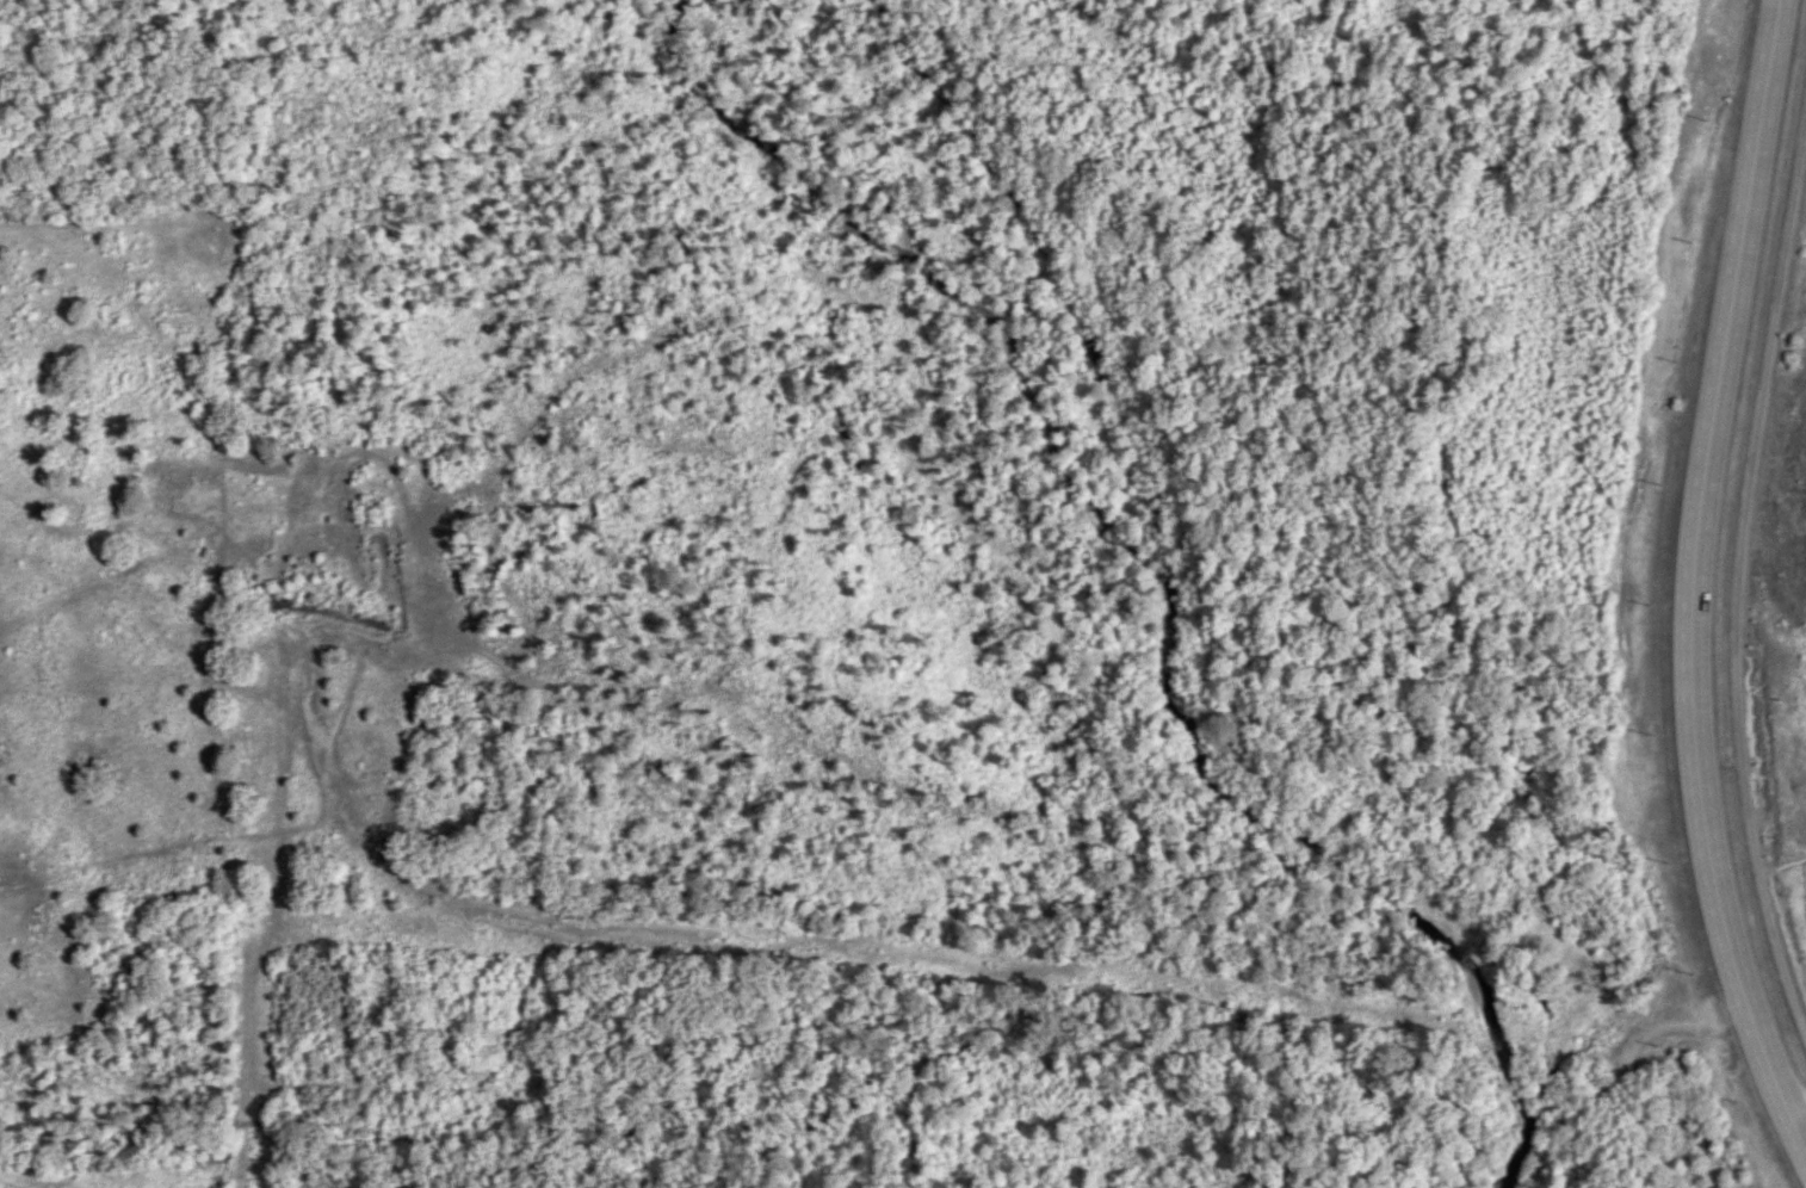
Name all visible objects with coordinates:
road: (1691, 581)
road: (412, 1095)

